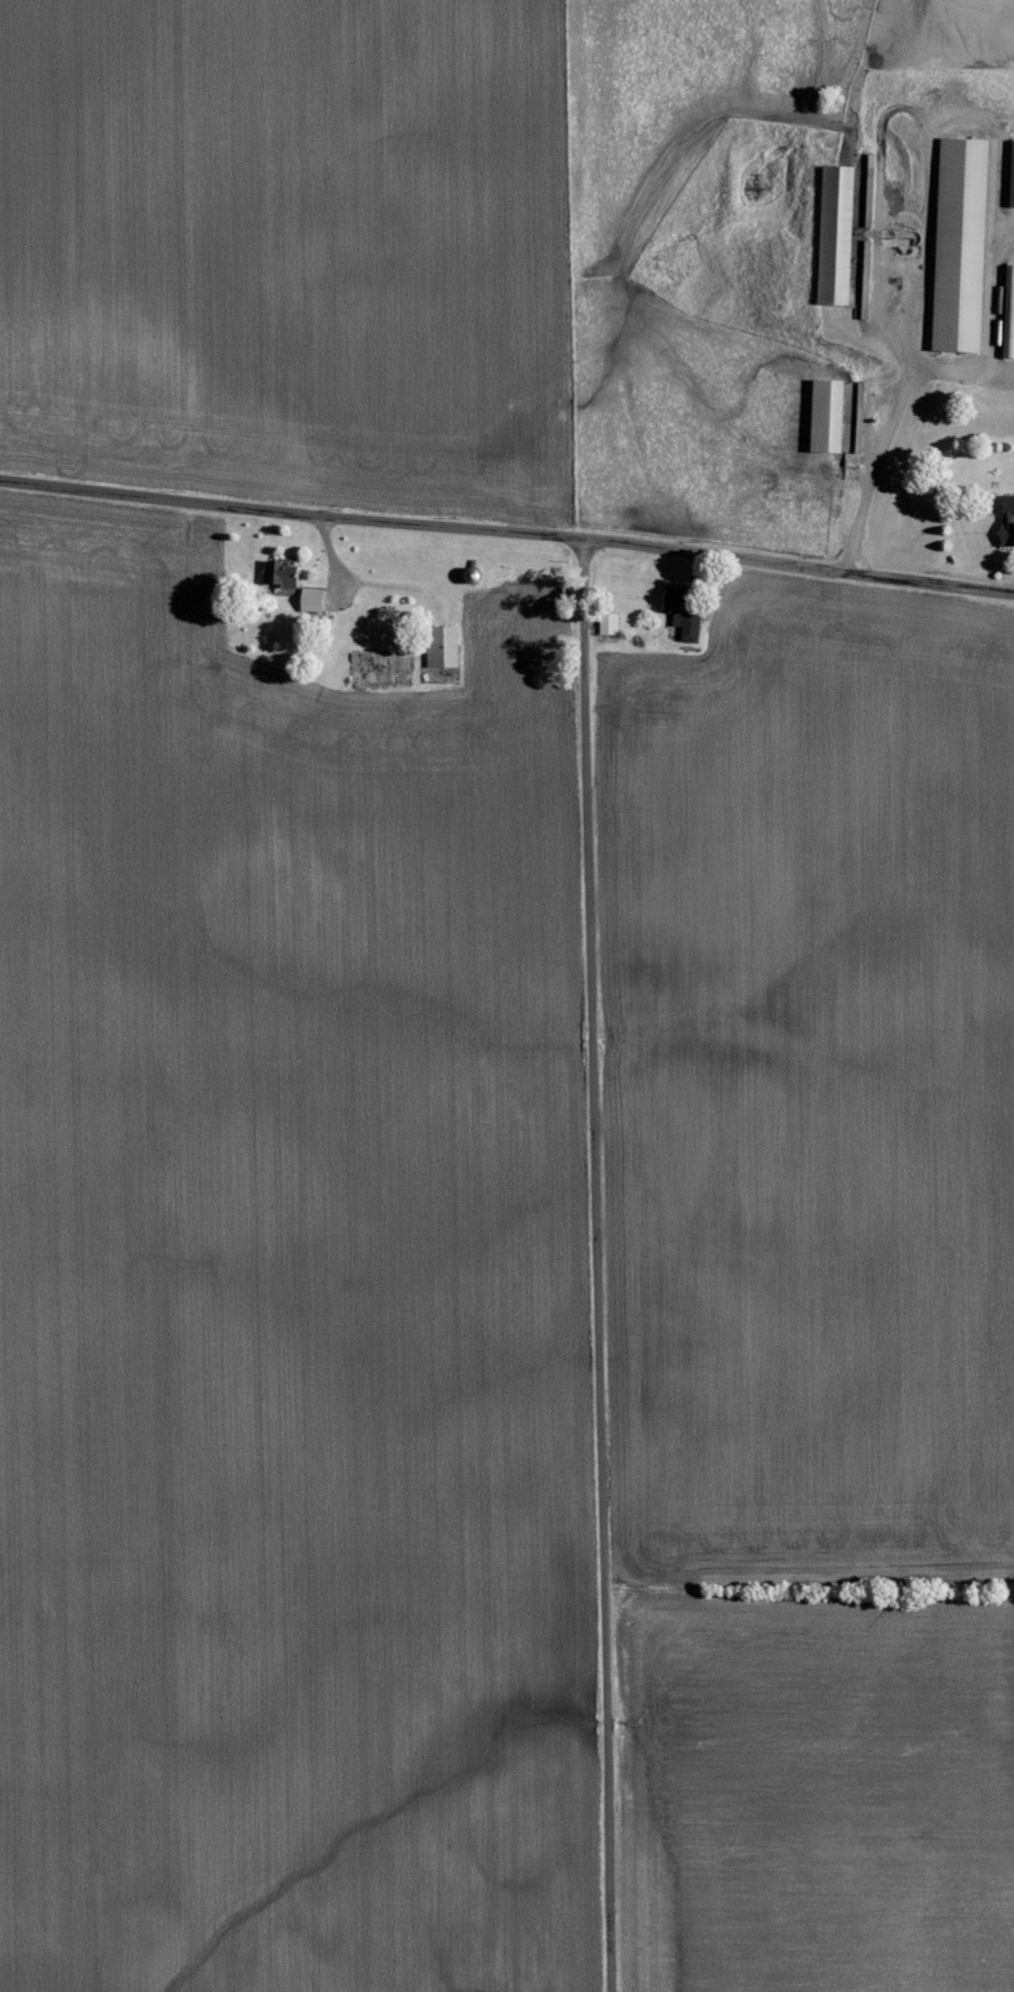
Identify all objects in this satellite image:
building: (1012, 177)
building: (837, 235)
building: (962, 245)
building: (1010, 314)
road: (897, 414)
building: (829, 416)
building: (1009, 521)
road: (507, 529)
building: (285, 576)
building: (312, 598)
building: (685, 616)
building: (610, 624)
building: (445, 647)
road: (597, 1265)

